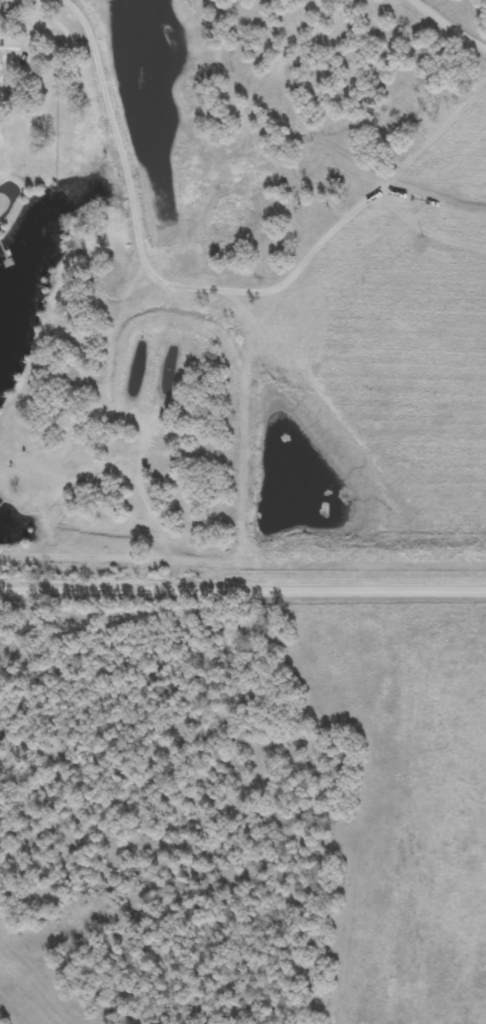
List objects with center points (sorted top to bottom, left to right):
road: (443, 29)
road: (243, 612)

